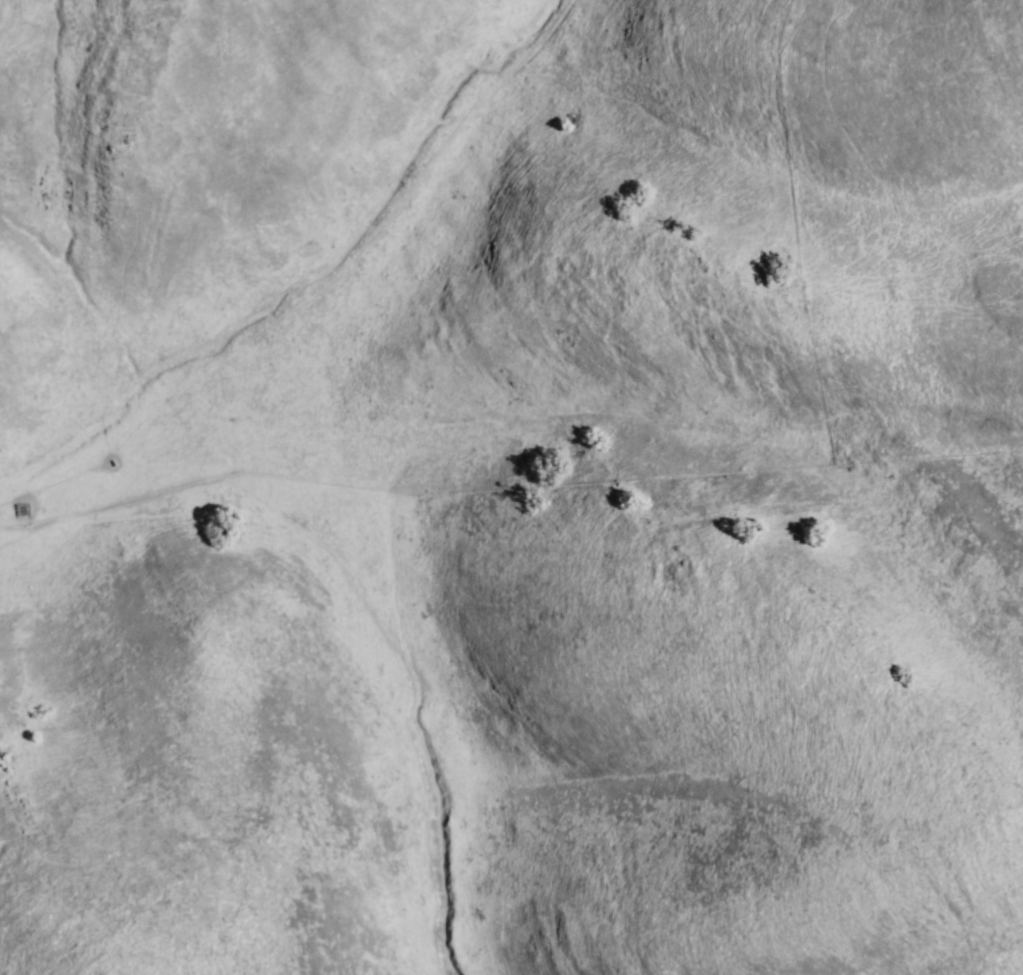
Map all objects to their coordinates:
road: (312, 302)

